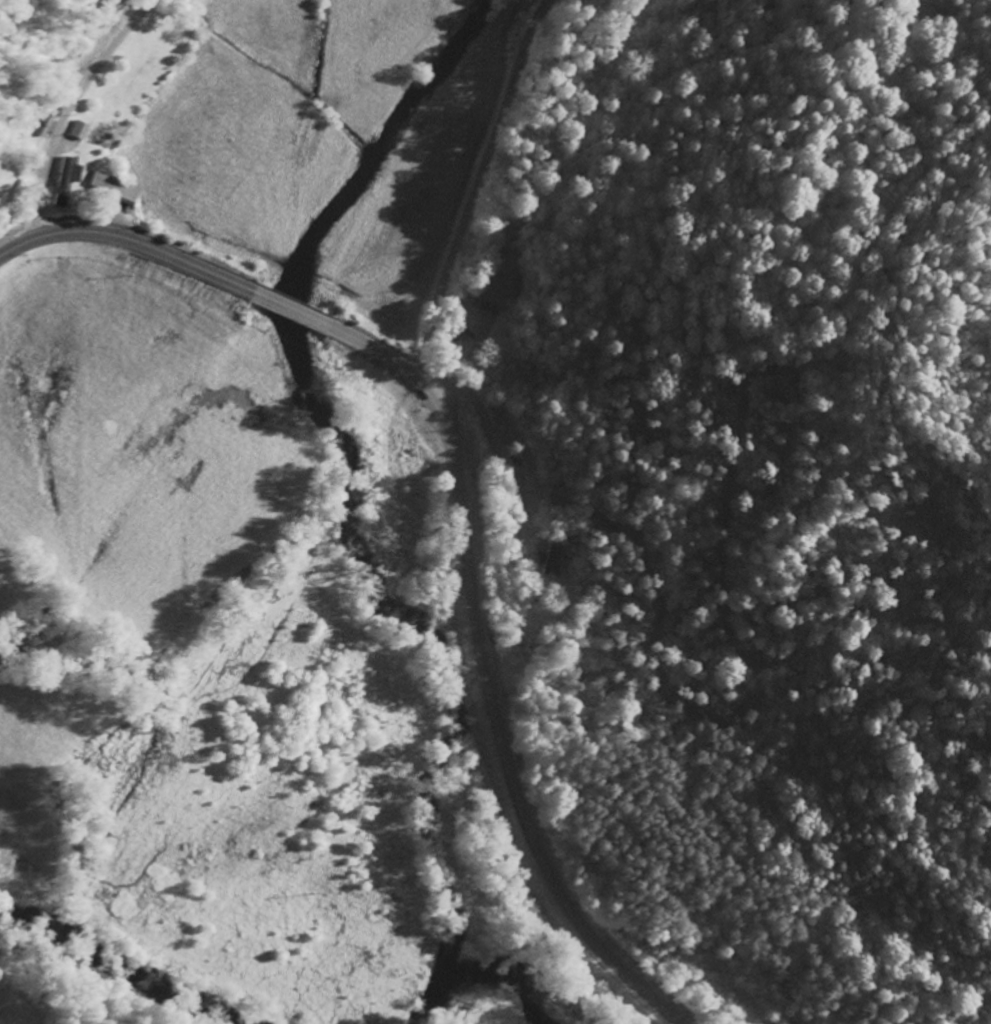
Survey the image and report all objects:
road: (37, 64)
road: (69, 111)
building: (79, 129)
park: (9, 176)
building: (65, 179)
building: (113, 187)
road: (475, 187)
road: (149, 247)
building: (508, 284)
road: (591, 438)
building: (548, 558)
road: (481, 655)
road: (61, 999)

